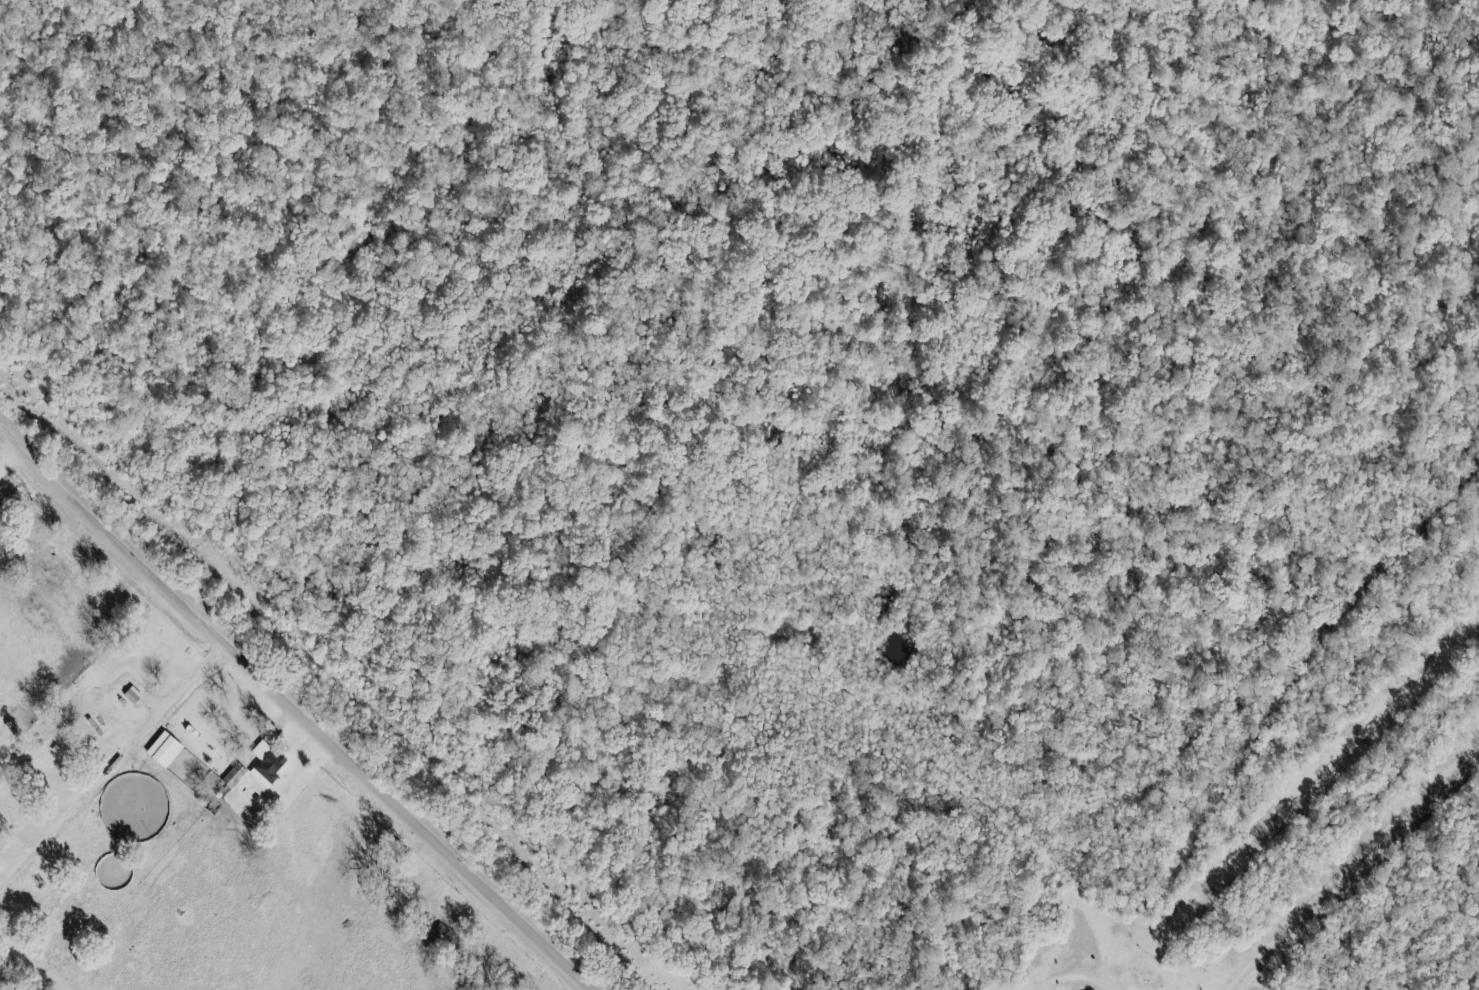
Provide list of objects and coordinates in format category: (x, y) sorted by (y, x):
road: (13, 469)
road: (299, 709)
building: (266, 763)
building: (234, 776)
road: (1361, 872)
road: (1078, 981)

